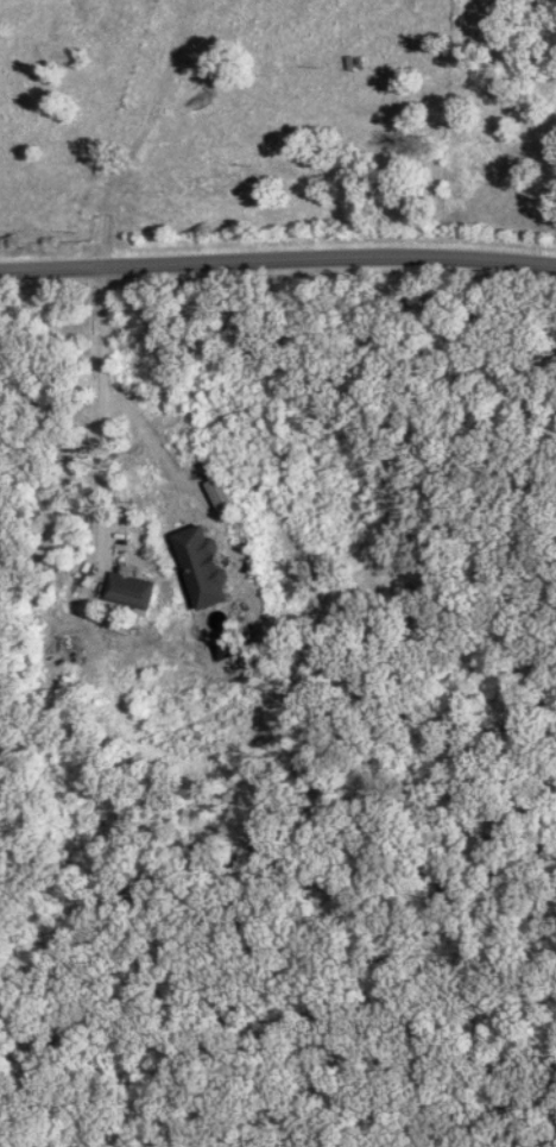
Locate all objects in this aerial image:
road: (278, 258)
building: (206, 568)
road: (240, 582)
building: (131, 594)

